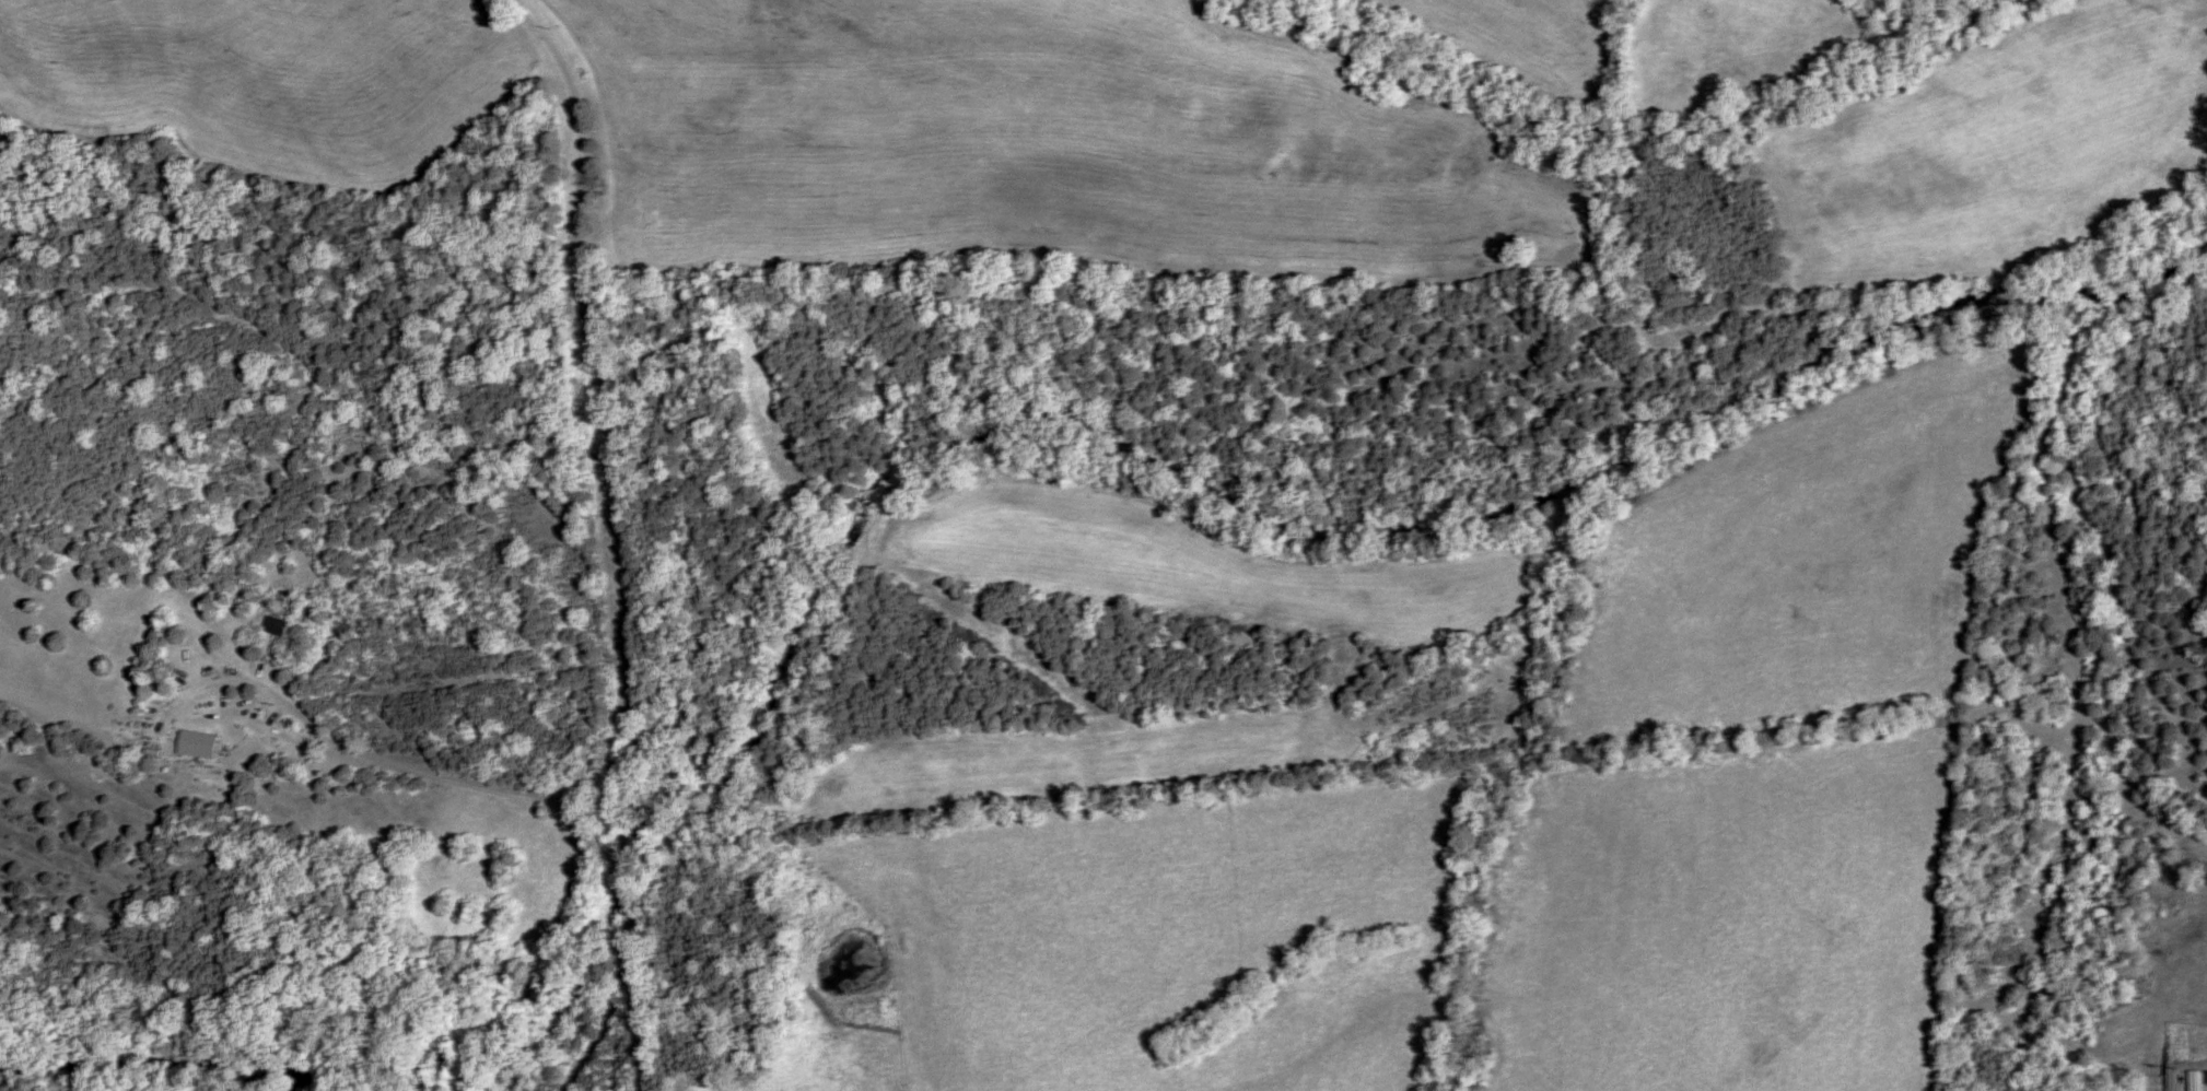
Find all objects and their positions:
road: (669, 533)
building: (279, 626)
building: (200, 744)
building: (2205, 977)

